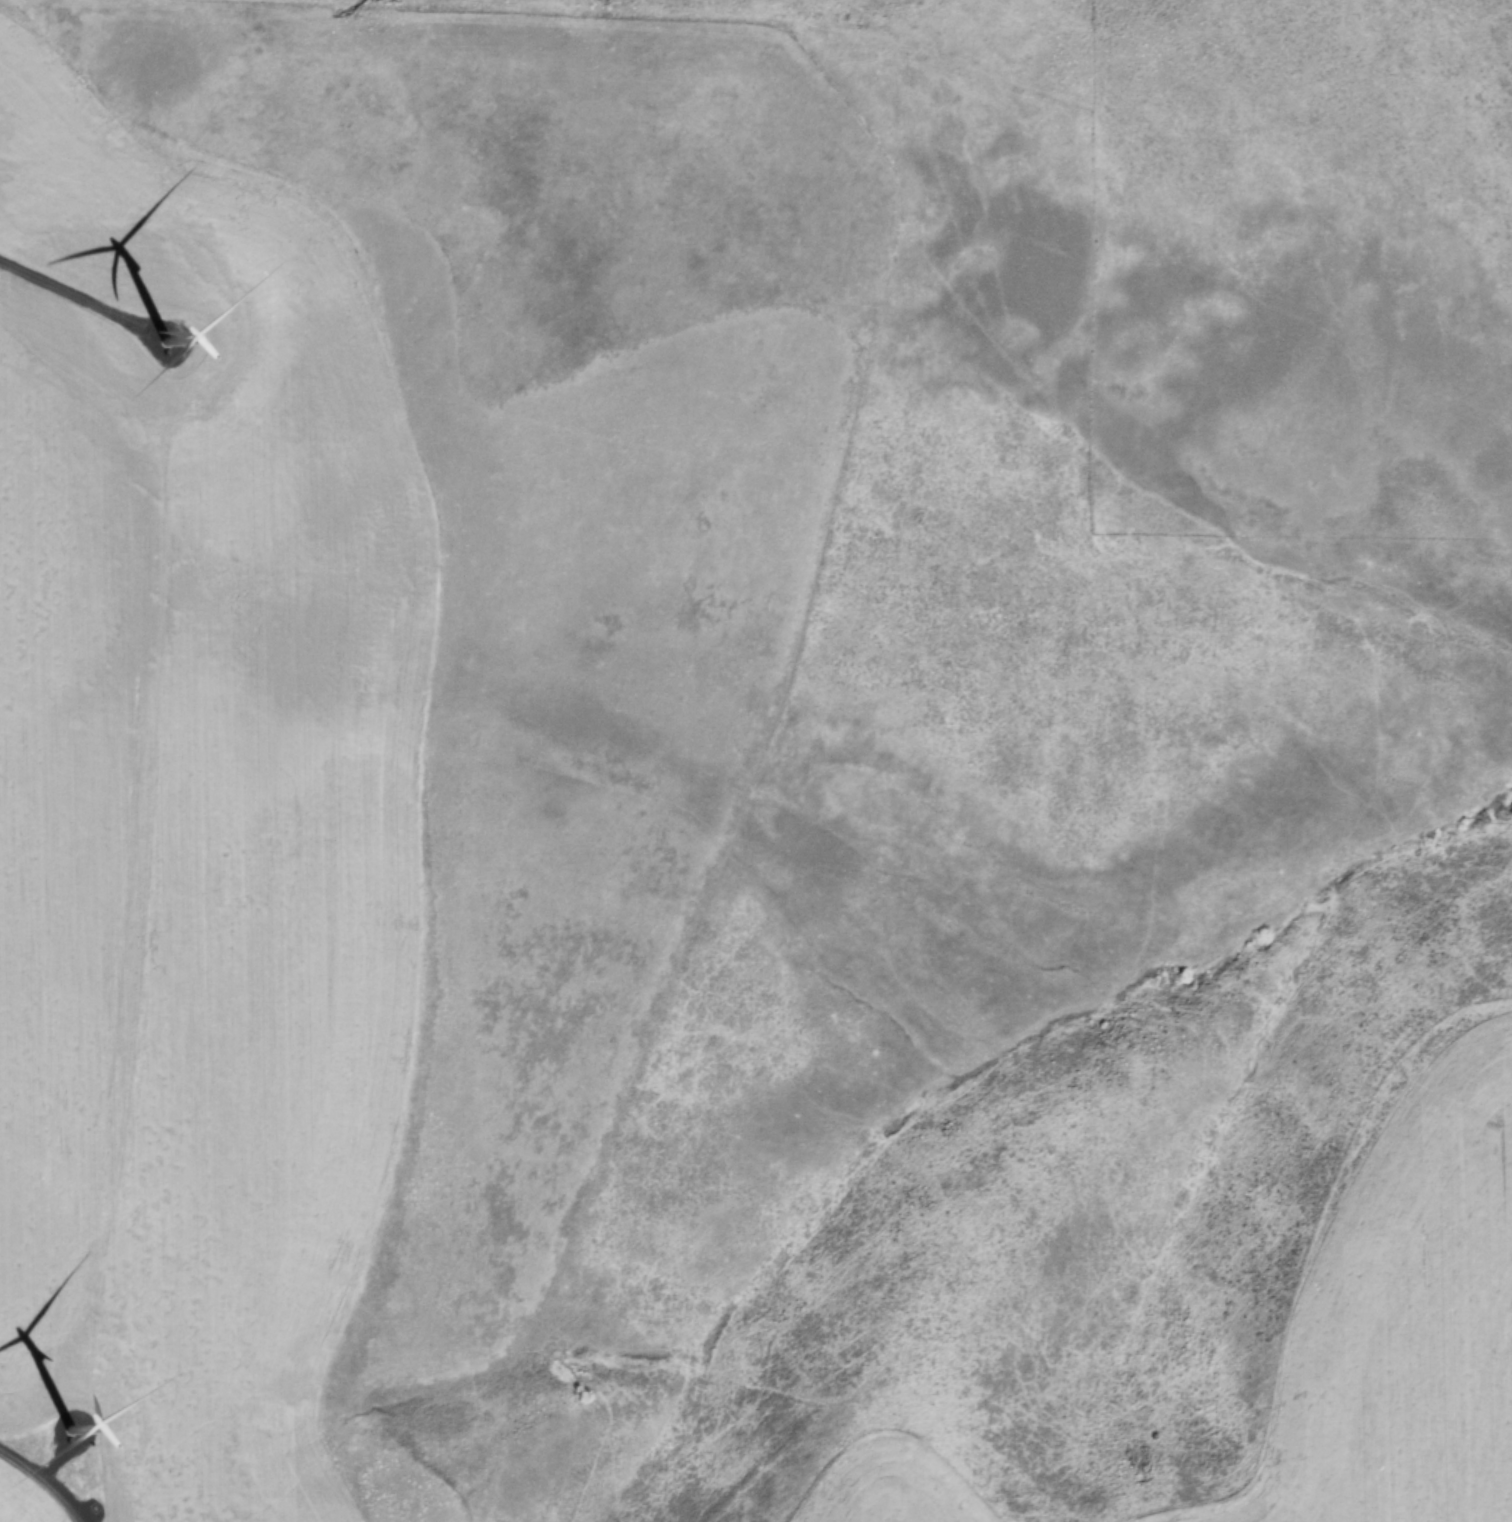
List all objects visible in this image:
road: (56, 288)
wind turbine: (165, 340)
wind turbine: (72, 1429)

